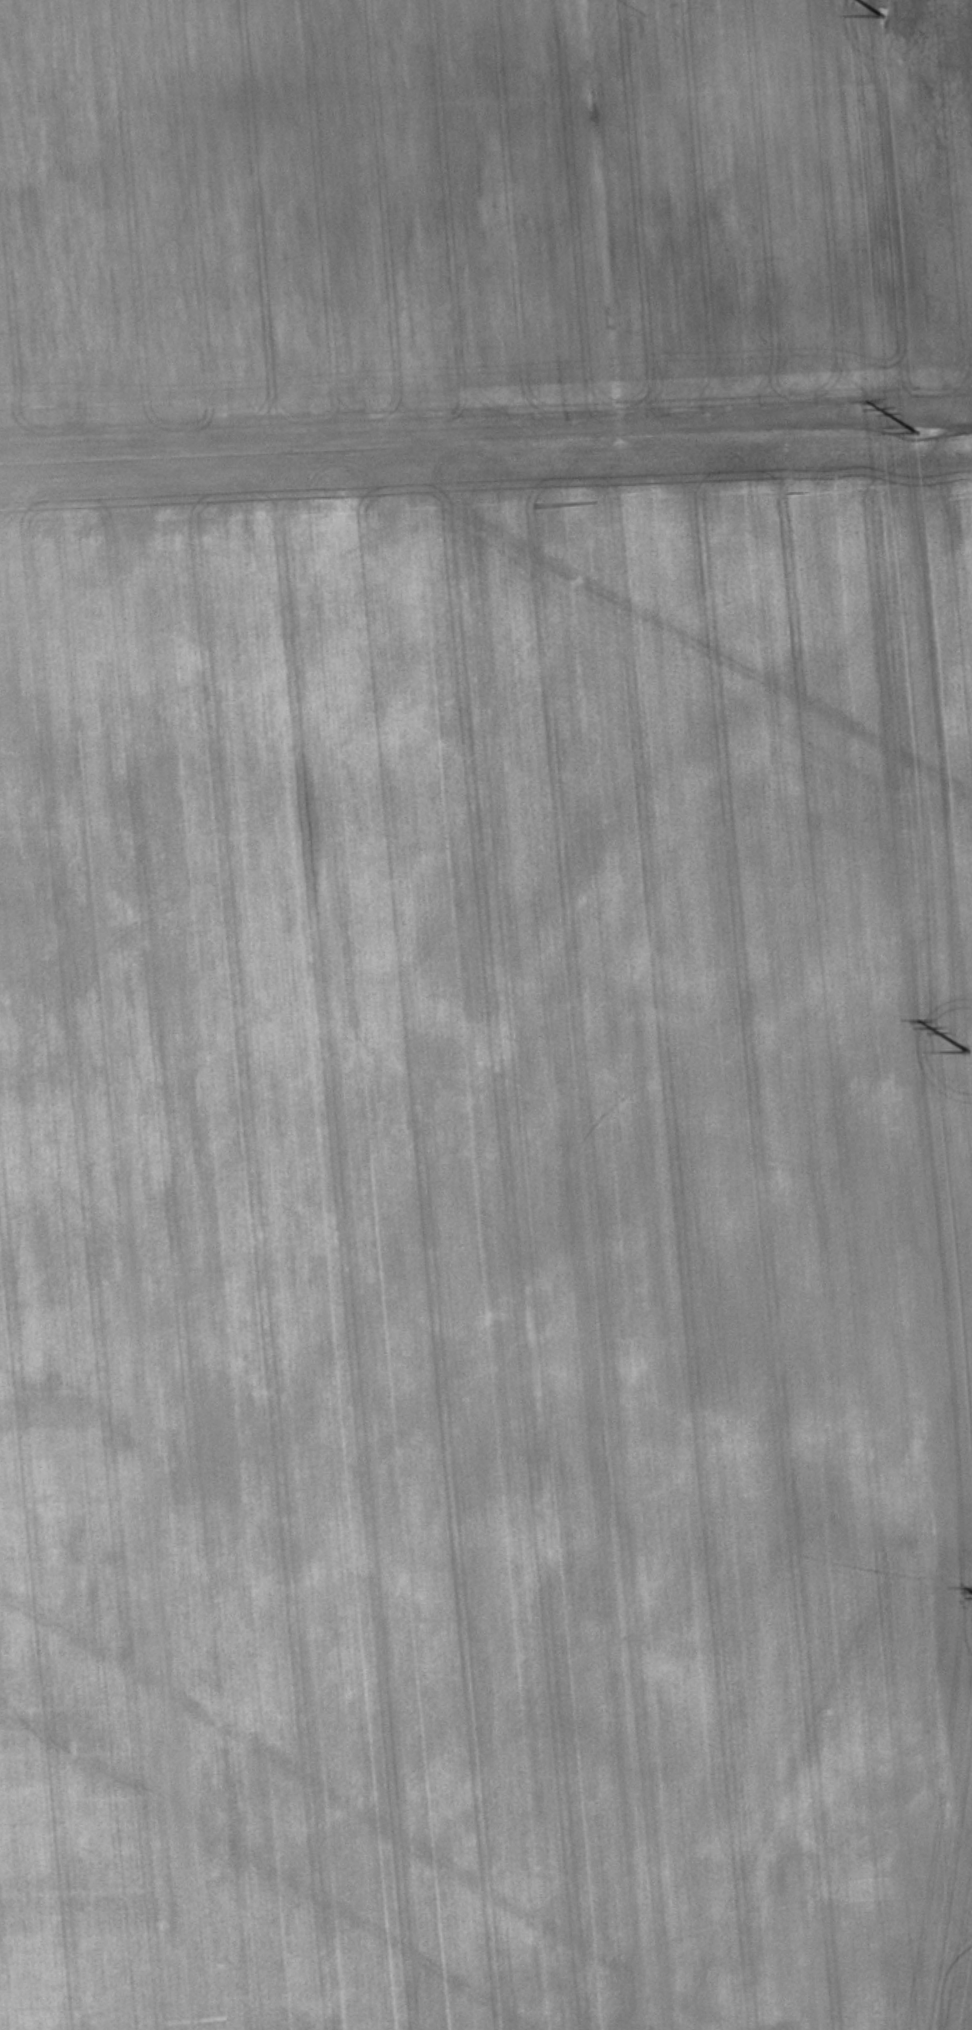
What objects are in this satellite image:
power tower: (879, 8)
power tower: (909, 426)
power tower: (958, 1040)

